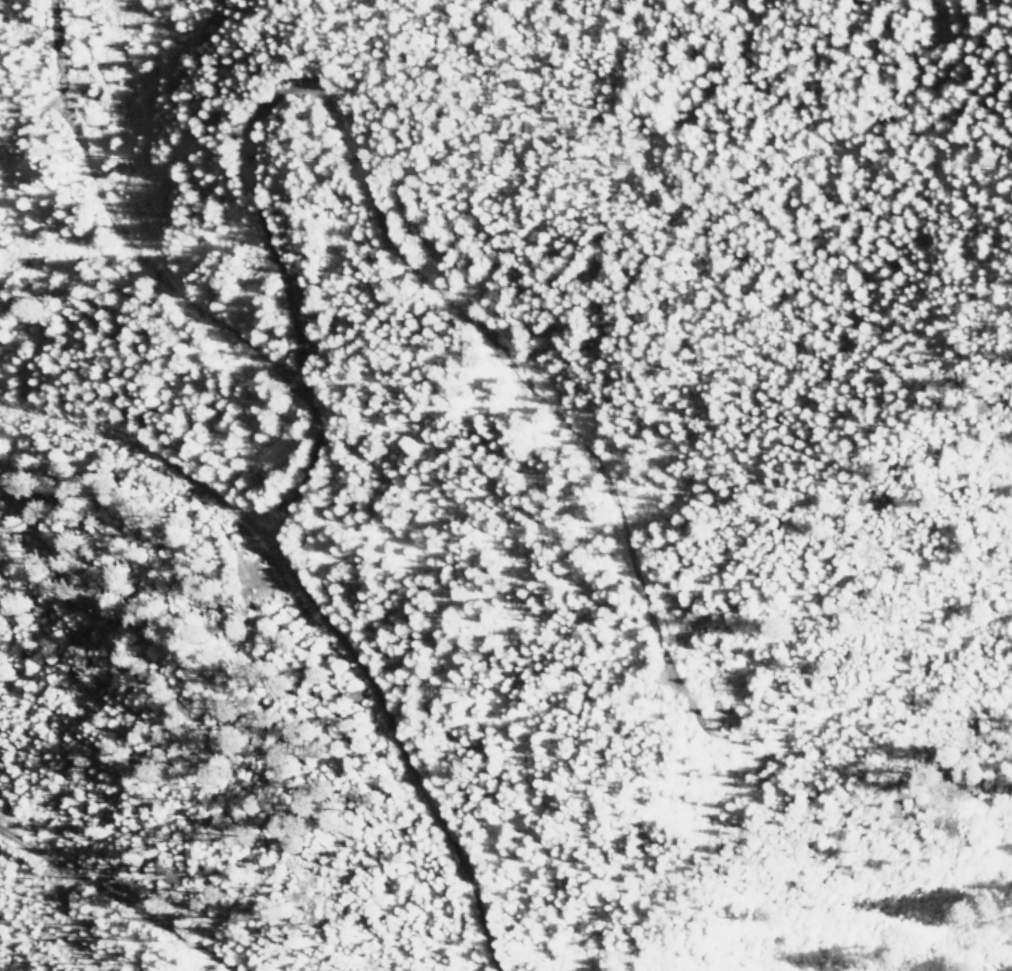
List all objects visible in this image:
road: (362, 191)
road: (125, 238)
road: (333, 613)
road: (112, 904)

